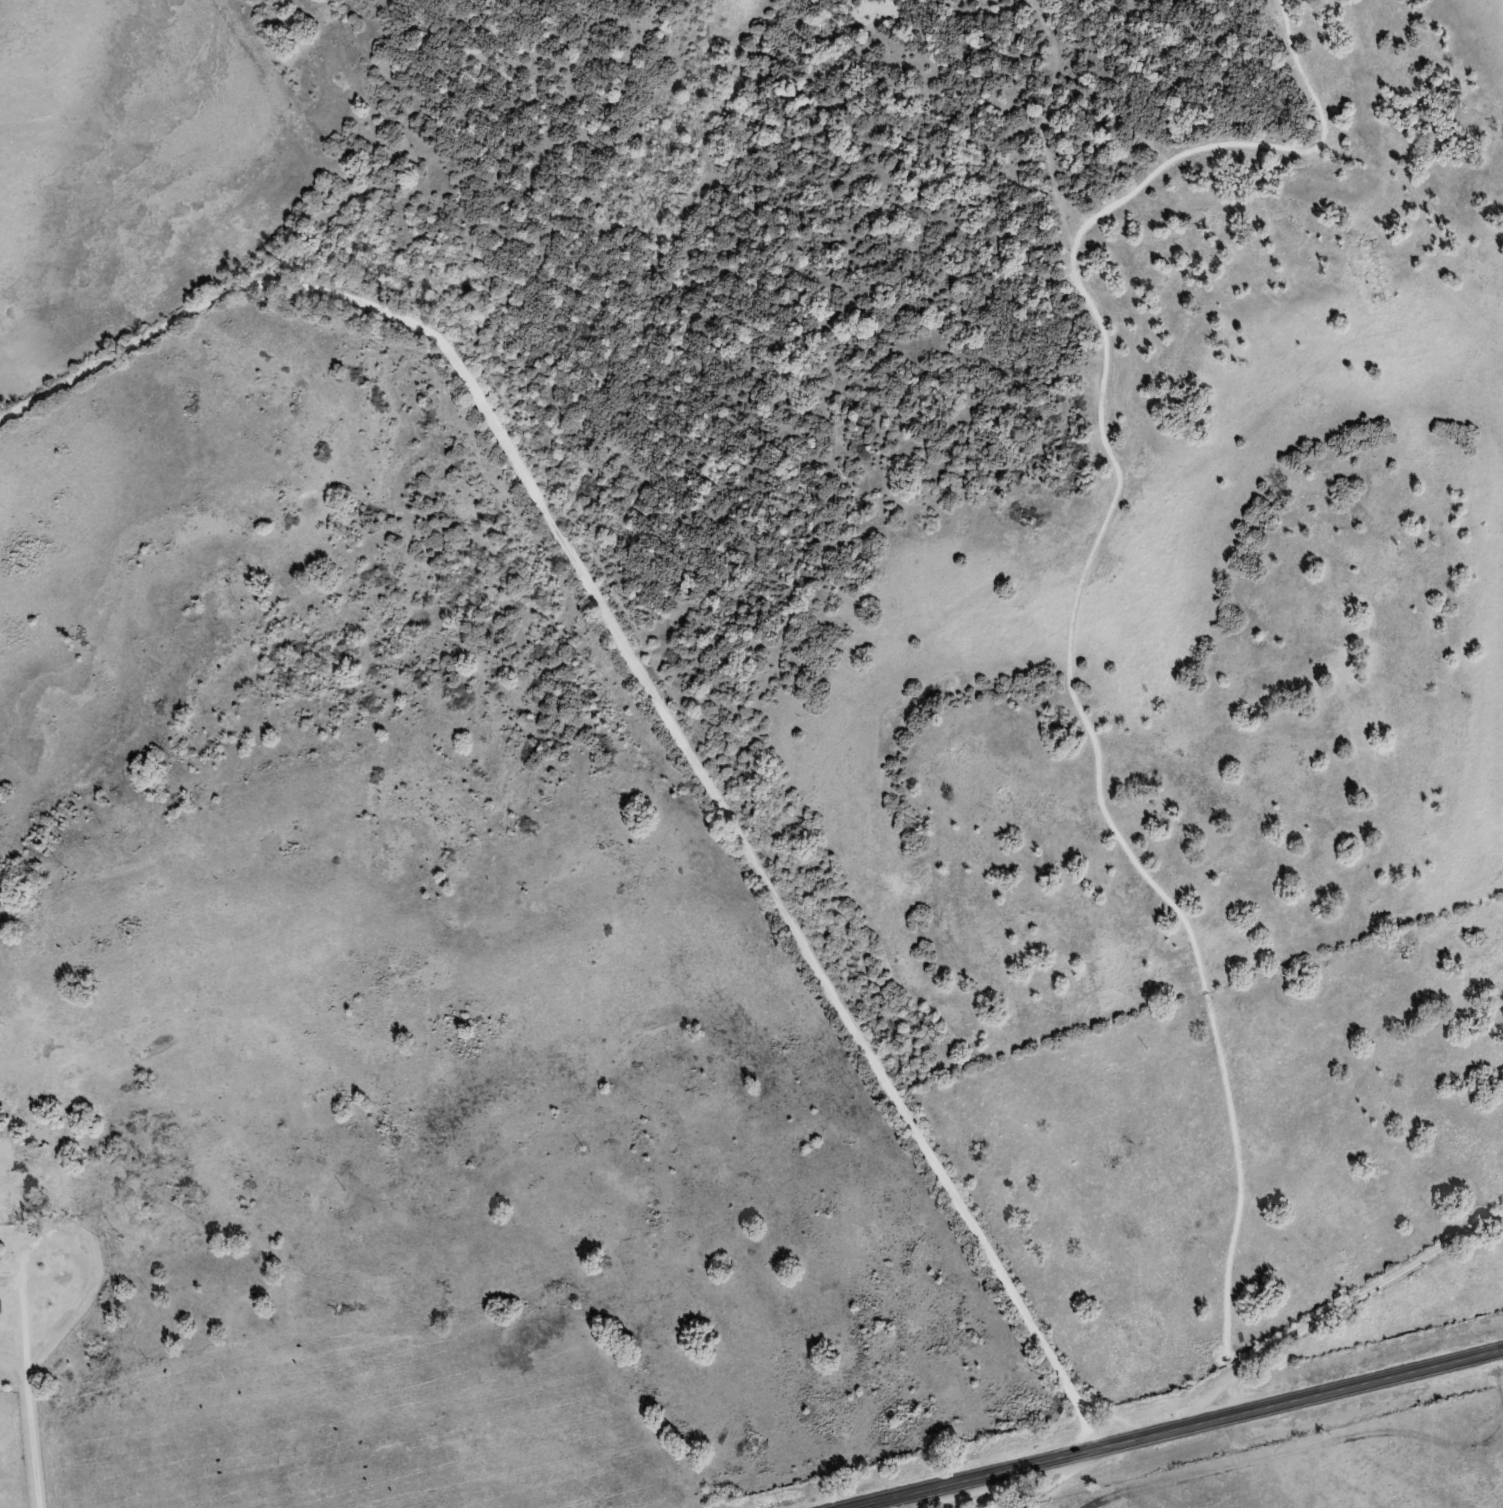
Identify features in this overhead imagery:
road: (1500, 17)
road: (644, 703)
building: (39, 1203)
road: (1335, 1307)
road: (24, 1381)
road: (1175, 1429)
road: (1026, 1481)

